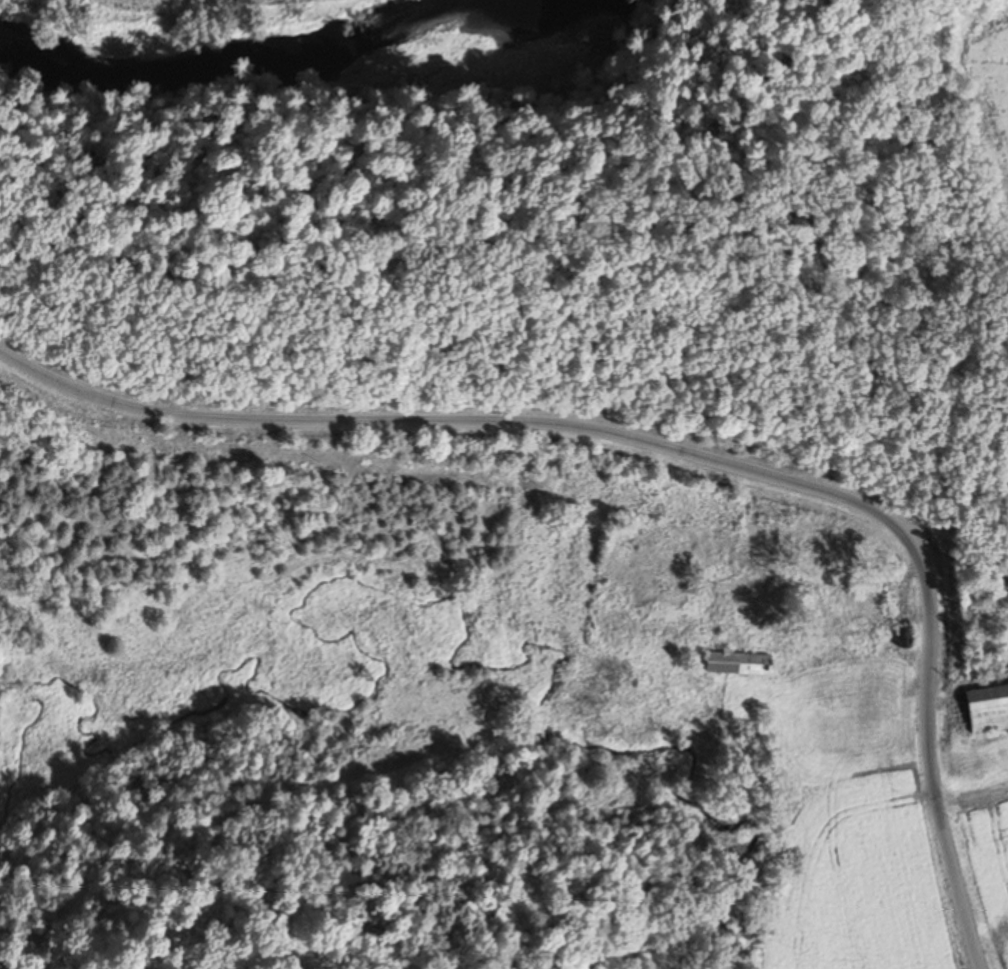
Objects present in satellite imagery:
river: (320, 73)
road: (551, 545)
building: (1002, 577)
building: (834, 604)
building: (904, 636)
building: (737, 663)
building: (823, 672)
building: (887, 693)
building: (987, 708)

